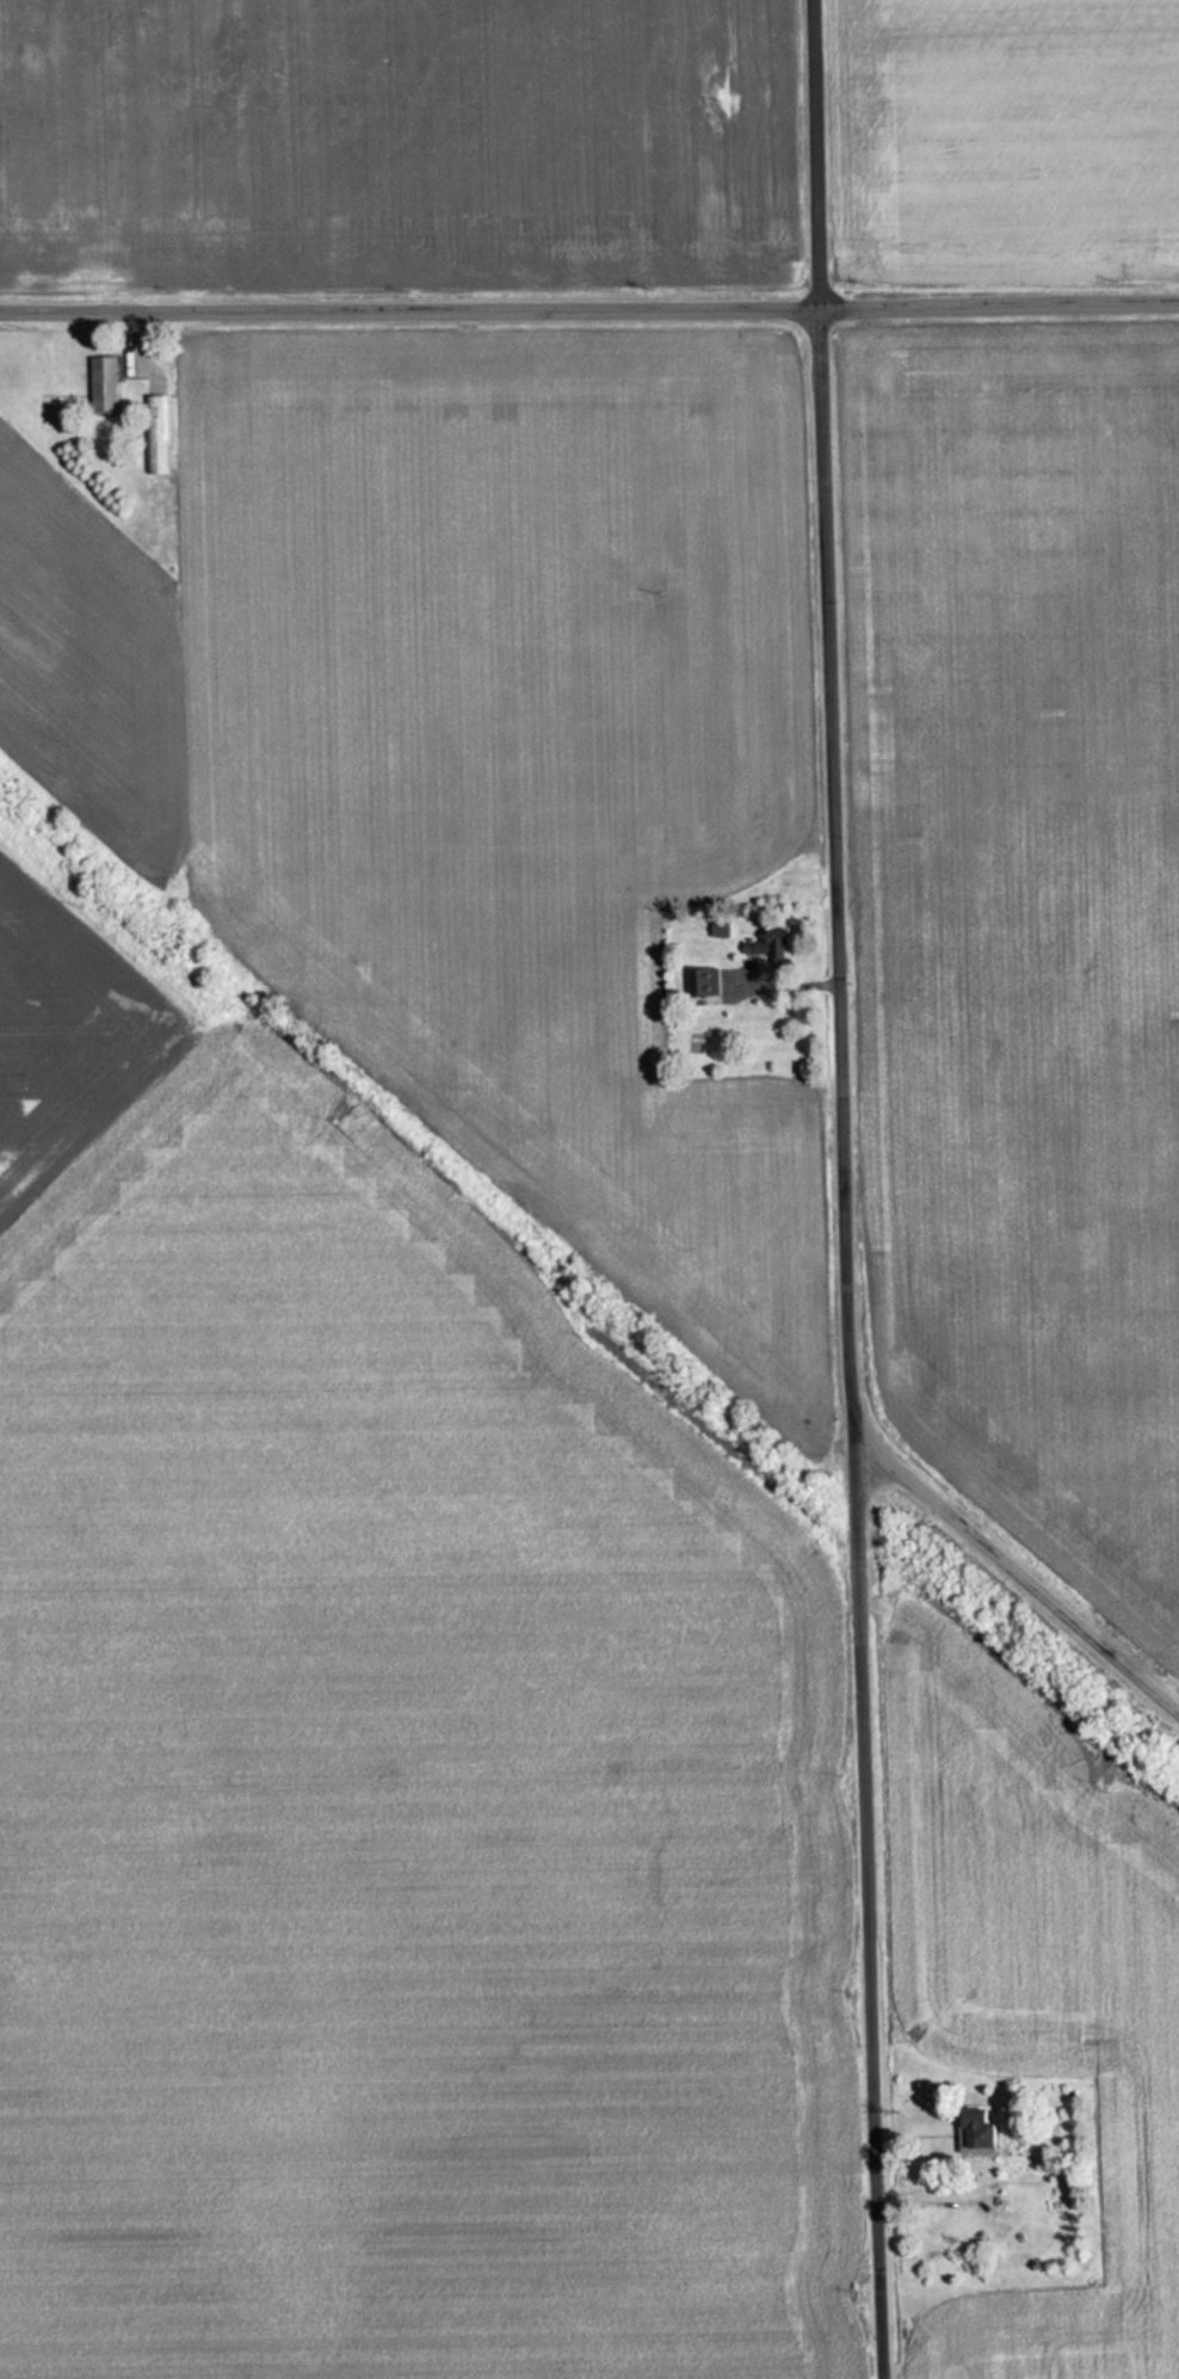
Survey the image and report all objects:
crop: (1007, 135)
crop: (397, 140)
road: (588, 297)
building: (104, 384)
crop: (475, 758)
crop: (1030, 919)
building: (700, 982)
crop: (66, 1036)
road: (852, 1189)
railway: (588, 1306)
road: (1024, 1571)
crop: (387, 1814)
crop: (1044, 1990)
building: (965, 2128)

